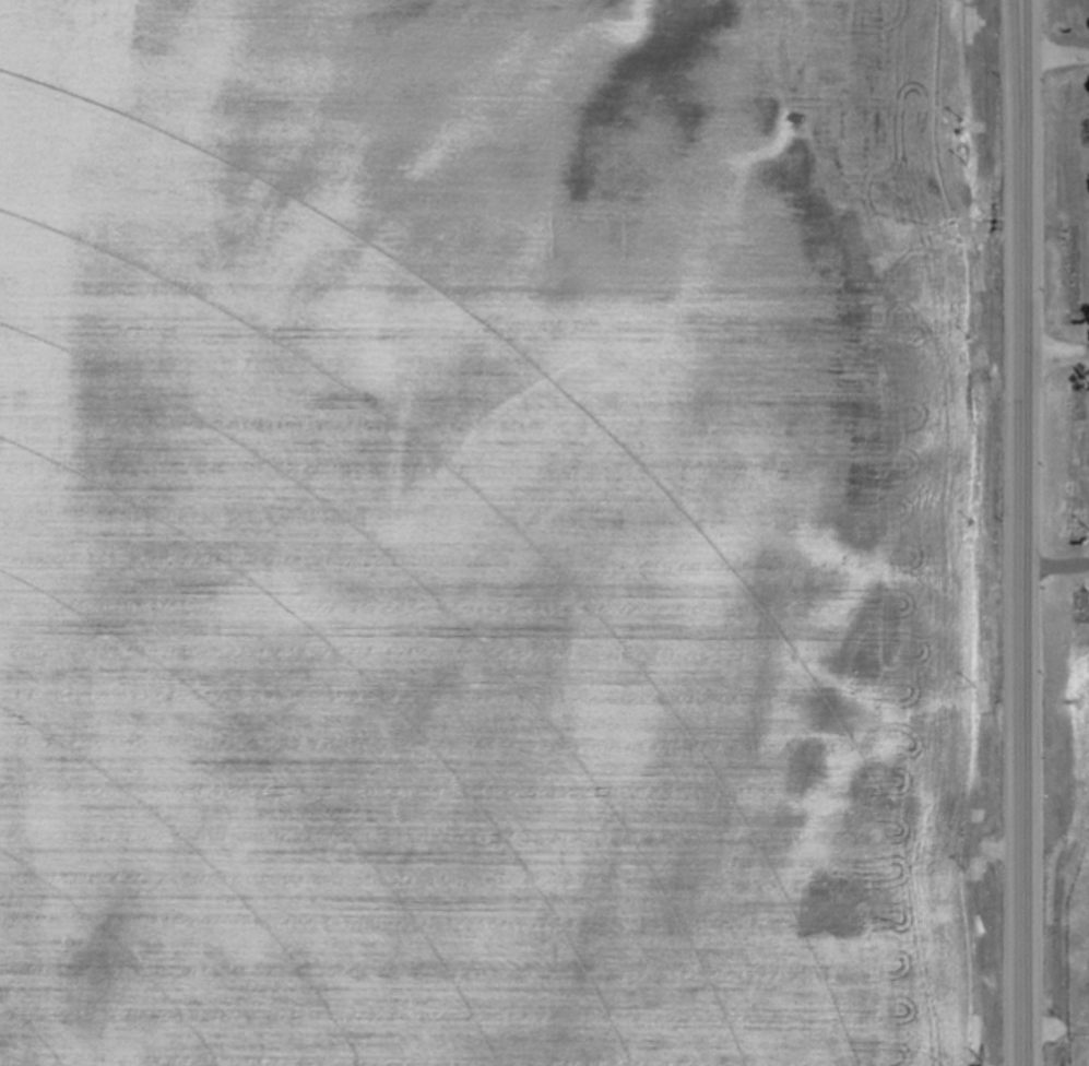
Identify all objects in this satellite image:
road: (1057, 54)
road: (1028, 532)
crop: (504, 533)
road: (1058, 566)

